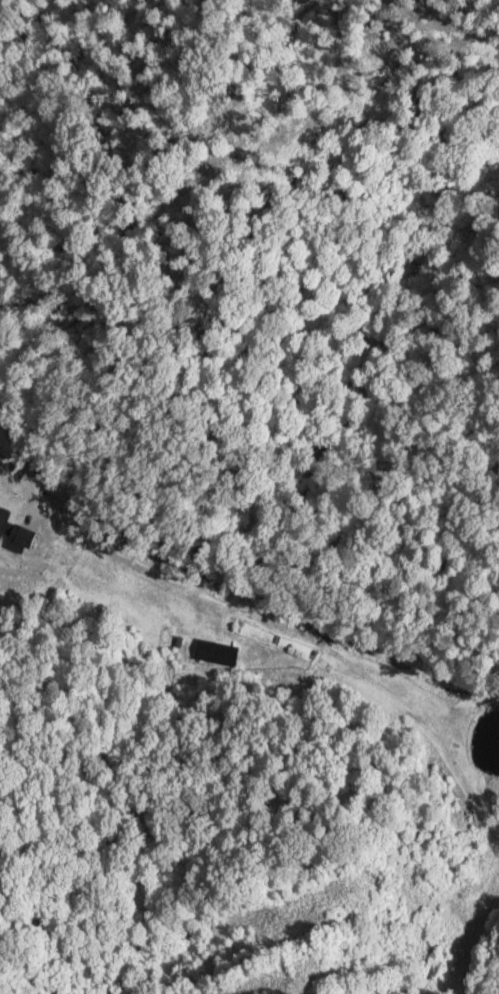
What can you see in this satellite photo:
building: (9, 537)
power tower: (287, 970)

